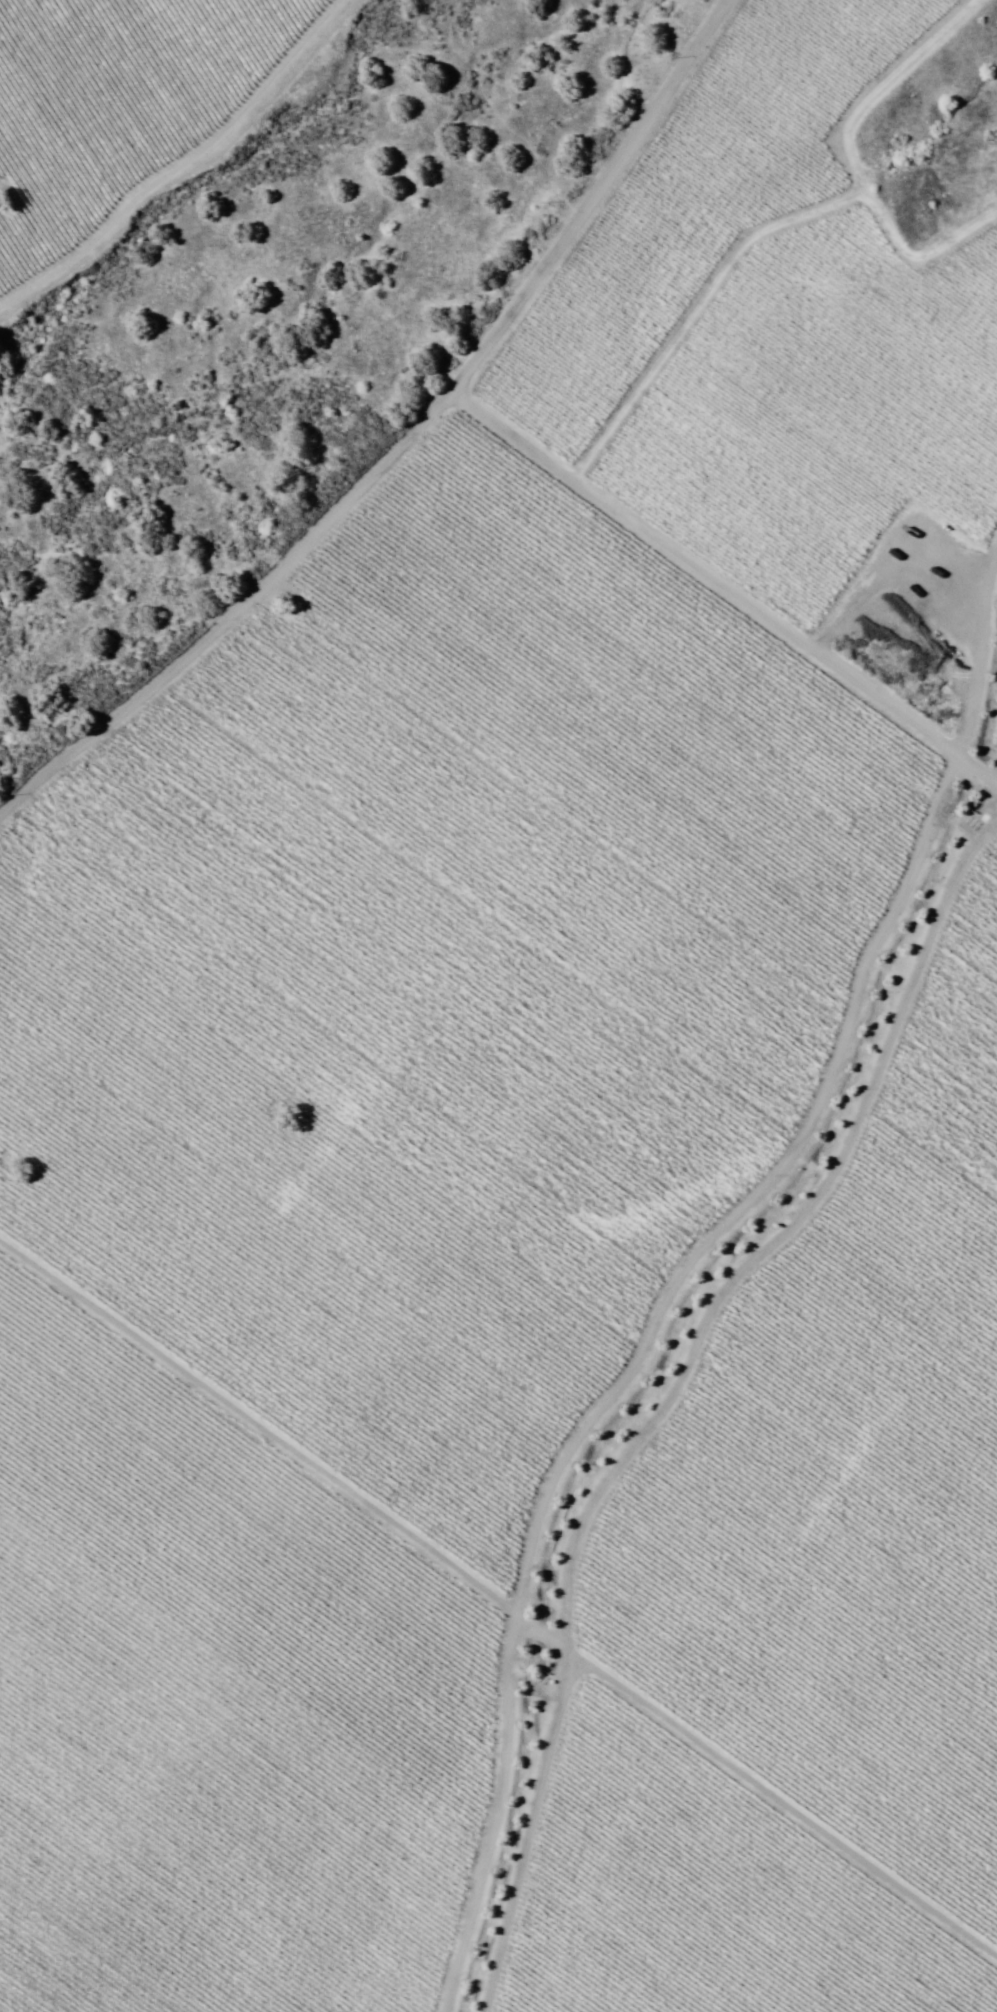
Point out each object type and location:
road: (405, 441)
road: (721, 596)

